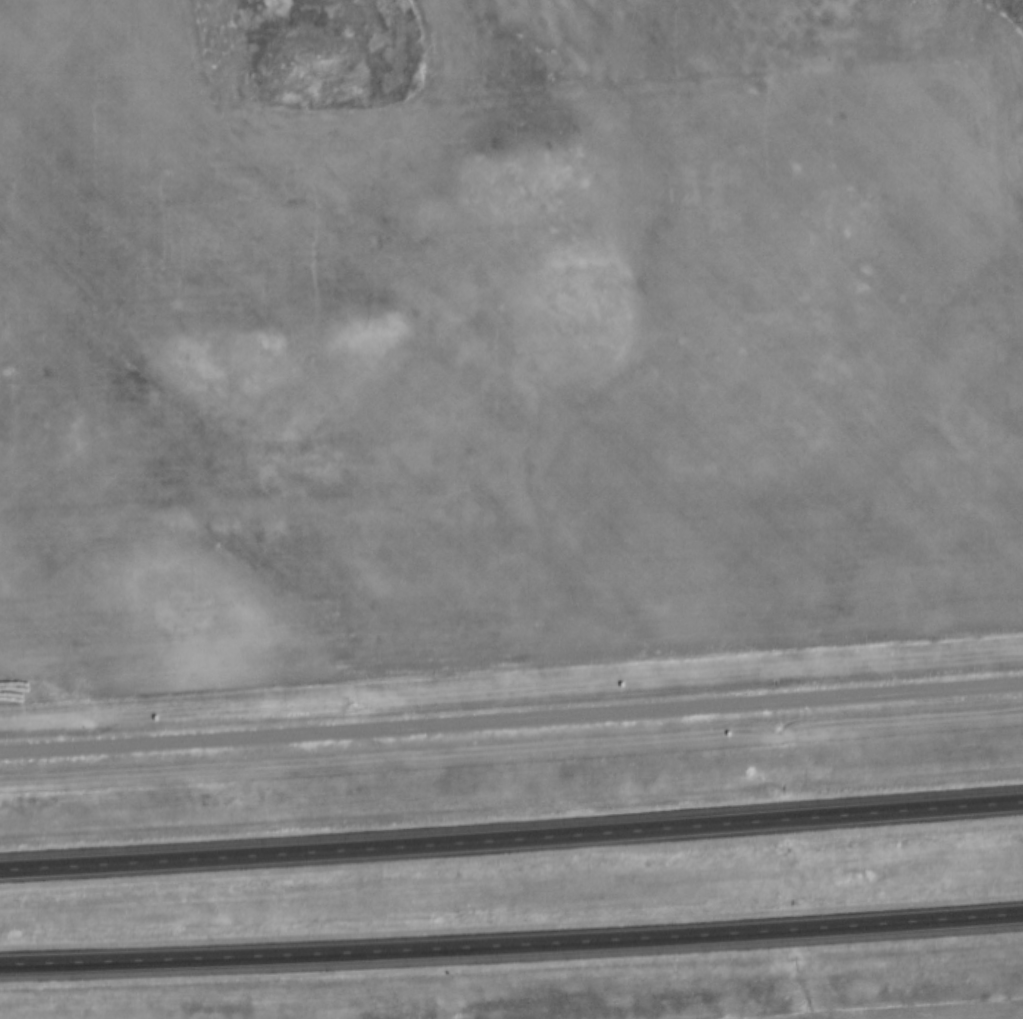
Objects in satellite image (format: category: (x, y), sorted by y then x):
road: (511, 721)
road: (511, 843)
road: (511, 950)

